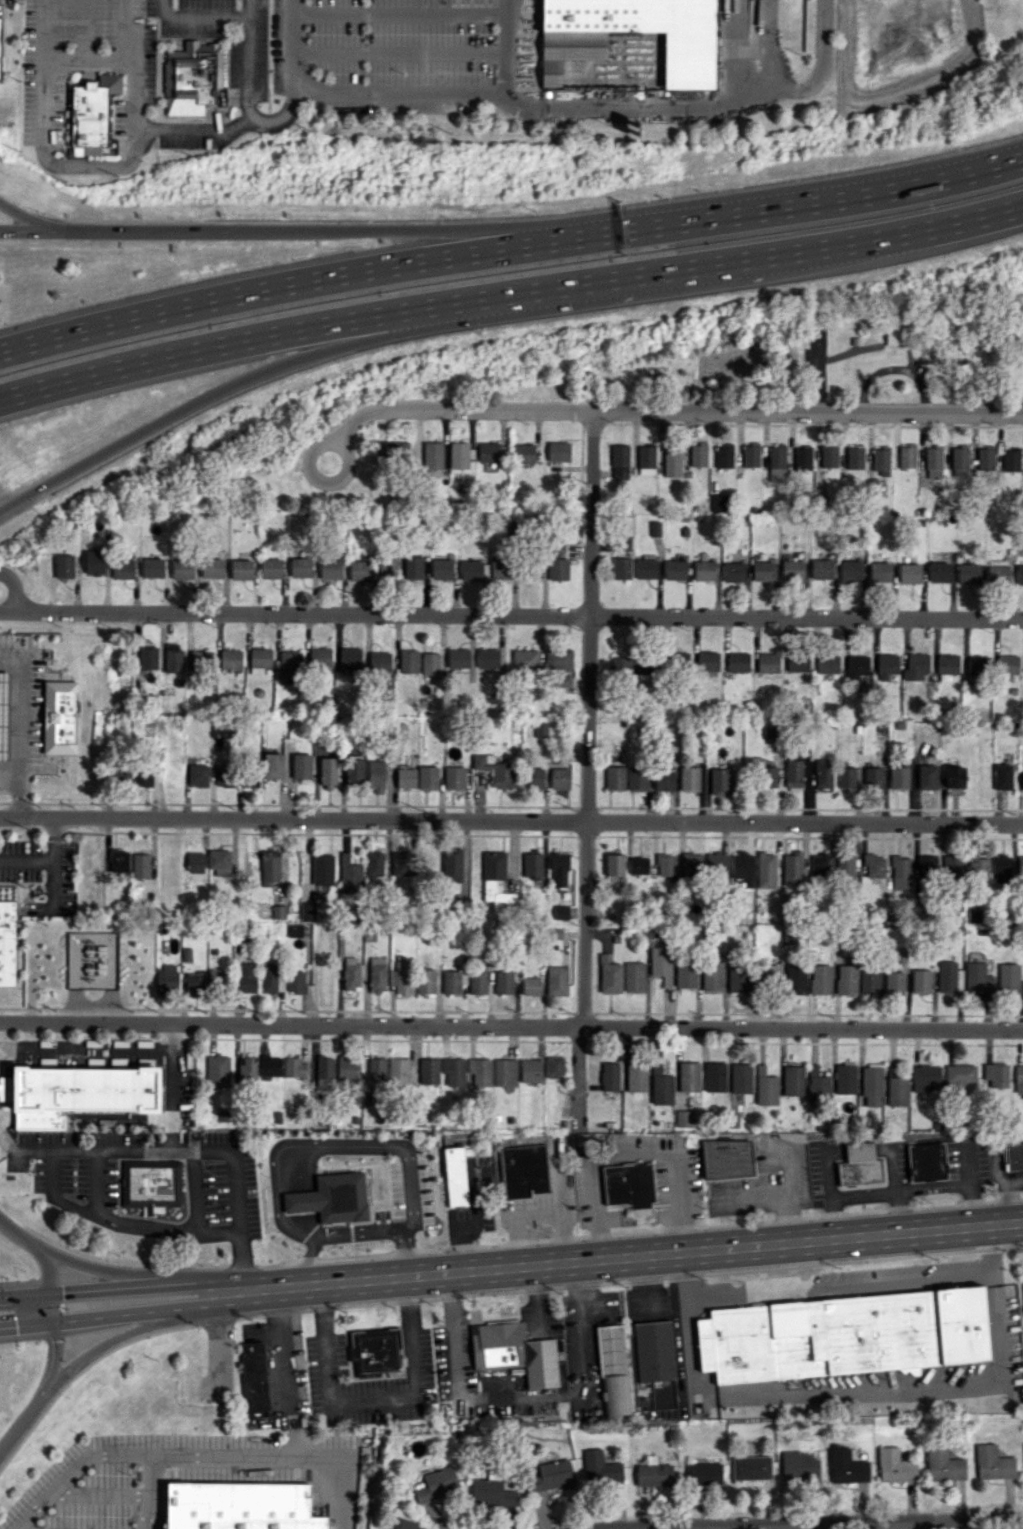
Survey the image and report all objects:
parking lot: (5, 4)
road: (247, 10)
road: (399, 14)
road: (83, 28)
building: (652, 31)
building: (0, 34)
road: (294, 43)
parking lot: (388, 45)
road: (505, 50)
road: (399, 54)
road: (83, 56)
road: (821, 65)
parking lot: (86, 67)
building: (193, 74)
road: (399, 94)
building: (93, 109)
road: (682, 109)
road: (247, 115)
road: (280, 116)
building: (110, 148)
road: (53, 163)
road: (32, 220)
road: (287, 231)
road: (510, 248)
road: (510, 294)
park: (817, 364)
road: (898, 365)
road: (209, 394)
park: (561, 398)
road: (459, 410)
road: (808, 413)
building: (392, 451)
building: (489, 452)
building: (558, 452)
building: (523, 454)
building: (432, 455)
building: (460, 455)
road: (308, 456)
building: (698, 456)
building: (724, 456)
building: (750, 456)
building: (906, 456)
building: (828, 457)
building: (854, 457)
building: (802, 459)
building: (880, 459)
building: (985, 459)
building: (646, 460)
building: (1010, 460)
building: (672, 462)
building: (932, 462)
building: (959, 462)
building: (619, 463)
building: (776, 464)
building: (94, 563)
building: (557, 565)
building: (63, 566)
building: (387, 567)
building: (152, 568)
building: (211, 568)
building: (270, 568)
building: (300, 568)
building: (413, 568)
building: (620, 568)
building: (122, 569)
building: (182, 569)
building: (241, 569)
building: (330, 569)
building: (442, 569)
building: (500, 569)
building: (646, 569)
building: (821, 569)
building: (360, 570)
building: (470, 570)
building: (675, 570)
building: (704, 570)
building: (792, 570)
building: (850, 570)
building: (762, 571)
building: (733, 572)
building: (880, 572)
building: (939, 572)
building: (909, 573)
building: (968, 574)
building: (998, 575)
building: (1019, 575)
road: (12, 590)
road: (511, 615)
road: (589, 617)
building: (320, 657)
building: (349, 657)
building: (173, 658)
building: (488, 658)
building: (147, 659)
building: (200, 659)
building: (230, 659)
building: (459, 659)
building: (526, 660)
building: (559, 660)
building: (260, 661)
building: (379, 661)
building: (677, 661)
building: (707, 661)
building: (408, 662)
building: (738, 662)
building: (767, 663)
building: (290, 664)
building: (430, 664)
building: (797, 664)
building: (827, 664)
building: (947, 664)
building: (1007, 664)
building: (619, 665)
building: (645, 666)
building: (887, 666)
building: (915, 666)
building: (977, 666)
building: (857, 667)
building: (561, 681)
building: (4, 715)
building: (59, 716)
gas station: (42, 717)
road: (20, 718)
building: (540, 729)
building: (273, 766)
building: (301, 766)
building: (354, 770)
building: (494, 771)
building: (327, 772)
building: (793, 773)
building: (823, 774)
building: (199, 776)
building: (222, 776)
building: (142, 777)
building: (376, 777)
building: (428, 777)
building: (767, 777)
building: (846, 777)
building: (872, 777)
building: (898, 777)
building: (926, 777)
building: (954, 777)
building: (1002, 777)
building: (406, 778)
building: (454, 778)
building: (614, 778)
building: (636, 778)
building: (249, 779)
building: (536, 779)
building: (559, 779)
building: (689, 779)
building: (663, 780)
building: (718, 781)
building: (1022, 781)
road: (20, 798)
road: (293, 820)
road: (805, 825)
road: (26, 859)
building: (119, 861)
building: (194, 862)
building: (219, 863)
road: (52, 864)
building: (374, 864)
building: (400, 864)
building: (716, 864)
building: (819, 864)
building: (88, 865)
building: (665, 865)
building: (691, 865)
building: (845, 865)
building: (873, 865)
building: (140, 866)
building: (638, 866)
building: (452, 867)
building: (926, 867)
building: (952, 867)
building: (978, 867)
building: (270, 868)
building: (765, 869)
building: (1001, 869)
building: (1020, 869)
building: (322, 870)
building: (560, 870)
building: (742, 870)
building: (792, 870)
building: (614, 871)
building: (900, 873)
building: (349, 876)
building: (496, 883)
building: (307, 911)
building: (561, 912)
road: (584, 925)
building: (294, 930)
building: (556, 934)
building: (788, 937)
building: (7, 943)
power substation: (92, 959)
building: (661, 964)
building: (686, 973)
building: (351, 974)
building: (376, 974)
building: (769, 974)
building: (217, 976)
building: (610, 976)
building: (712, 976)
building: (246, 977)
building: (268, 977)
building: (634, 977)
building: (948, 977)
building: (401, 978)
building: (738, 978)
building: (977, 978)
building: (166, 979)
building: (795, 979)
building: (1009, 979)
building: (820, 980)
building: (846, 980)
building: (294, 981)
building: (453, 981)
building: (557, 981)
building: (920, 981)
building: (426, 982)
building: (477, 982)
building: (503, 982)
building: (868, 982)
building: (194, 983)
building: (894, 984)
building: (531, 986)
road: (511, 1026)
road: (95, 1046)
building: (270, 1066)
building: (554, 1067)
building: (295, 1068)
building: (347, 1068)
building: (247, 1069)
building: (376, 1069)
building: (217, 1071)
building: (398, 1071)
building: (429, 1071)
building: (453, 1071)
building: (531, 1071)
building: (479, 1072)
building: (505, 1072)
building: (324, 1073)
road: (581, 1074)
building: (960, 1075)
building: (996, 1075)
building: (636, 1076)
building: (609, 1077)
building: (688, 1077)
building: (714, 1077)
building: (924, 1077)
building: (740, 1078)
building: (845, 1079)
building: (1019, 1079)
building: (792, 1081)
building: (817, 1085)
building: (660, 1086)
building: (871, 1086)
building: (765, 1087)
building: (6, 1089)
building: (897, 1091)
building: (82, 1094)
road: (172, 1097)
building: (684, 1118)
road: (288, 1146)
road: (180, 1148)
road: (630, 1153)
building: (1013, 1156)
building: (727, 1160)
building: (860, 1166)
building: (523, 1168)
building: (456, 1176)
building: (151, 1183)
building: (629, 1185)
building: (342, 1197)
road: (411, 1199)
road: (535, 1217)
road: (472, 1220)
road: (119, 1223)
road: (378, 1230)
road: (17, 1236)
road: (851, 1236)
road: (302, 1263)
road: (500, 1267)
road: (107, 1272)
road: (841, 1283)
road: (306, 1285)
road: (201, 1287)
road: (256, 1288)
road: (91, 1290)
road: (44, 1292)
traffic signals: (61, 1293)
road: (137, 1313)
road: (25, 1325)
traffic signals: (15, 1327)
road: (53, 1332)
building: (843, 1335)
road: (584, 1338)
traffic signals: (56, 1341)
building: (374, 1351)
building: (654, 1351)
building: (514, 1352)
road: (78, 1360)
building: (613, 1369)
road: (300, 1371)
parking lot: (275, 1372)
building: (255, 1376)
road: (458, 1377)
road: (863, 1398)
road: (375, 1401)
road: (284, 1455)
building: (993, 1463)
building: (943, 1464)
building: (895, 1466)
building: (799, 1467)
building: (846, 1467)
building: (600, 1468)
building: (751, 1468)
road: (70, 1469)
building: (704, 1474)
building: (552, 1475)
building: (653, 1475)
parking lot: (176, 1476)
building: (437, 1485)
road: (148, 1491)
building: (491, 1493)
building: (240, 1506)
building: (398, 1523)
road: (833, 1523)
road: (680, 1528)

